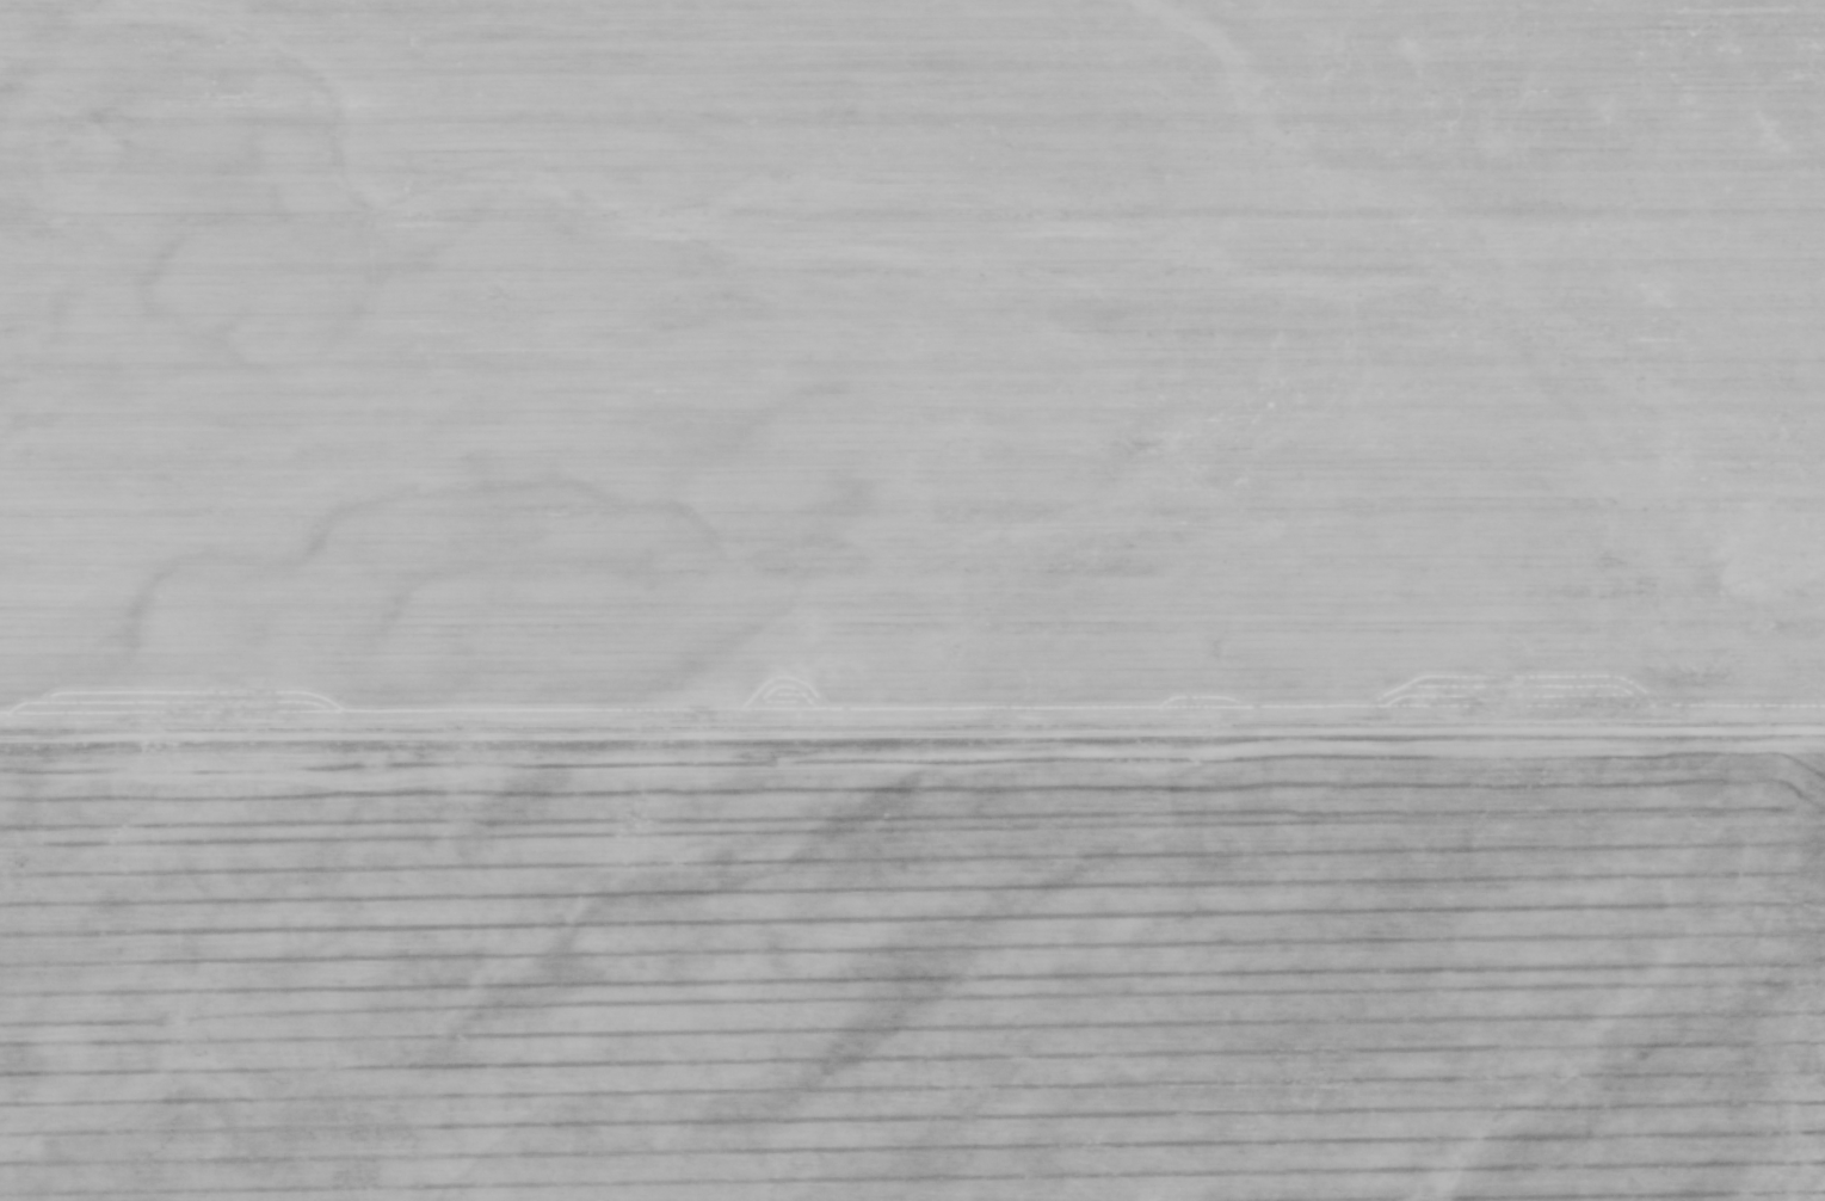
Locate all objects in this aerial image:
road: (912, 728)

